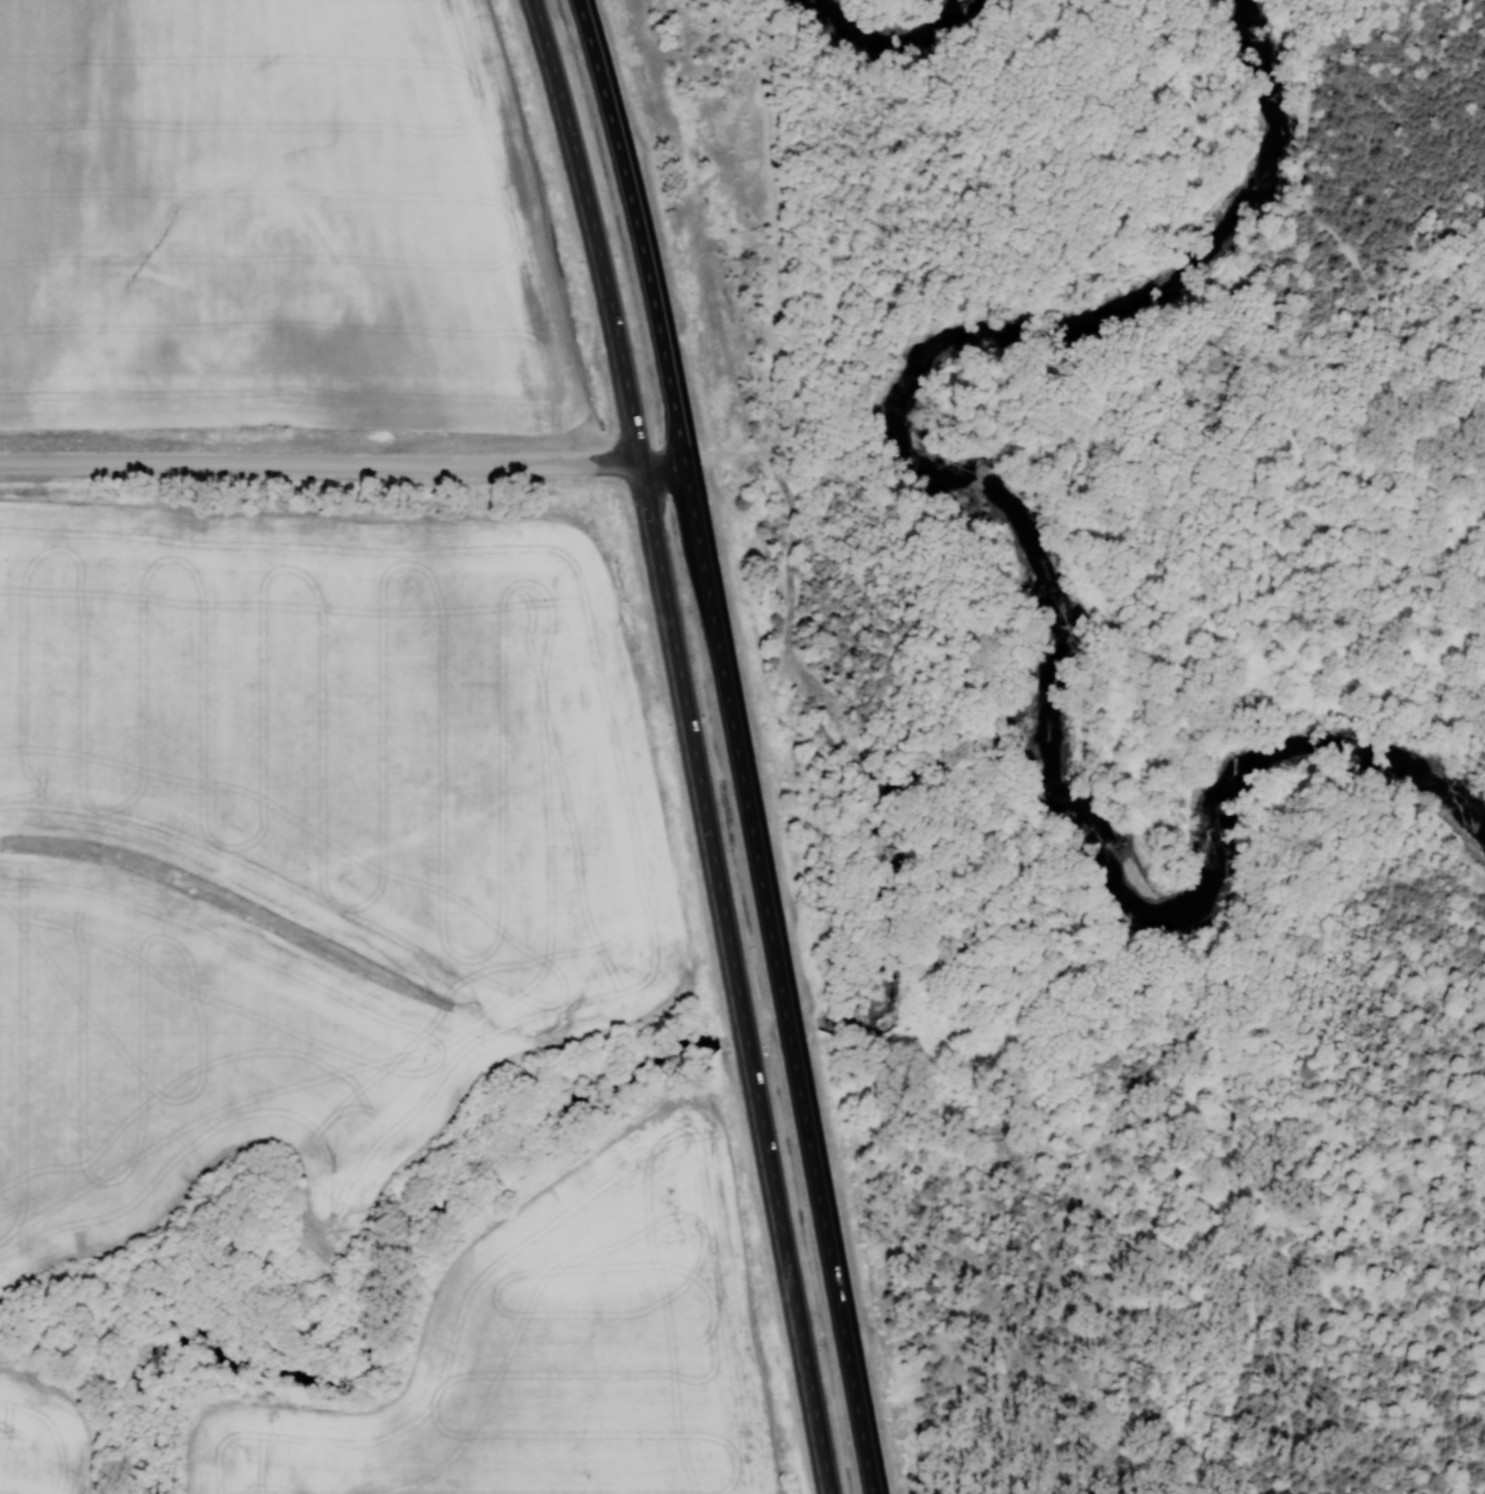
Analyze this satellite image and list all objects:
river: (885, 35)
road: (741, 37)
road: (637, 228)
road: (1328, 229)
road: (590, 230)
road: (831, 332)
river: (990, 334)
road: (748, 449)
road: (342, 462)
park: (1099, 709)
road: (865, 764)
road: (881, 783)
road: (897, 794)
river: (1217, 850)
road: (779, 976)
road: (735, 978)
road: (1106, 1094)

